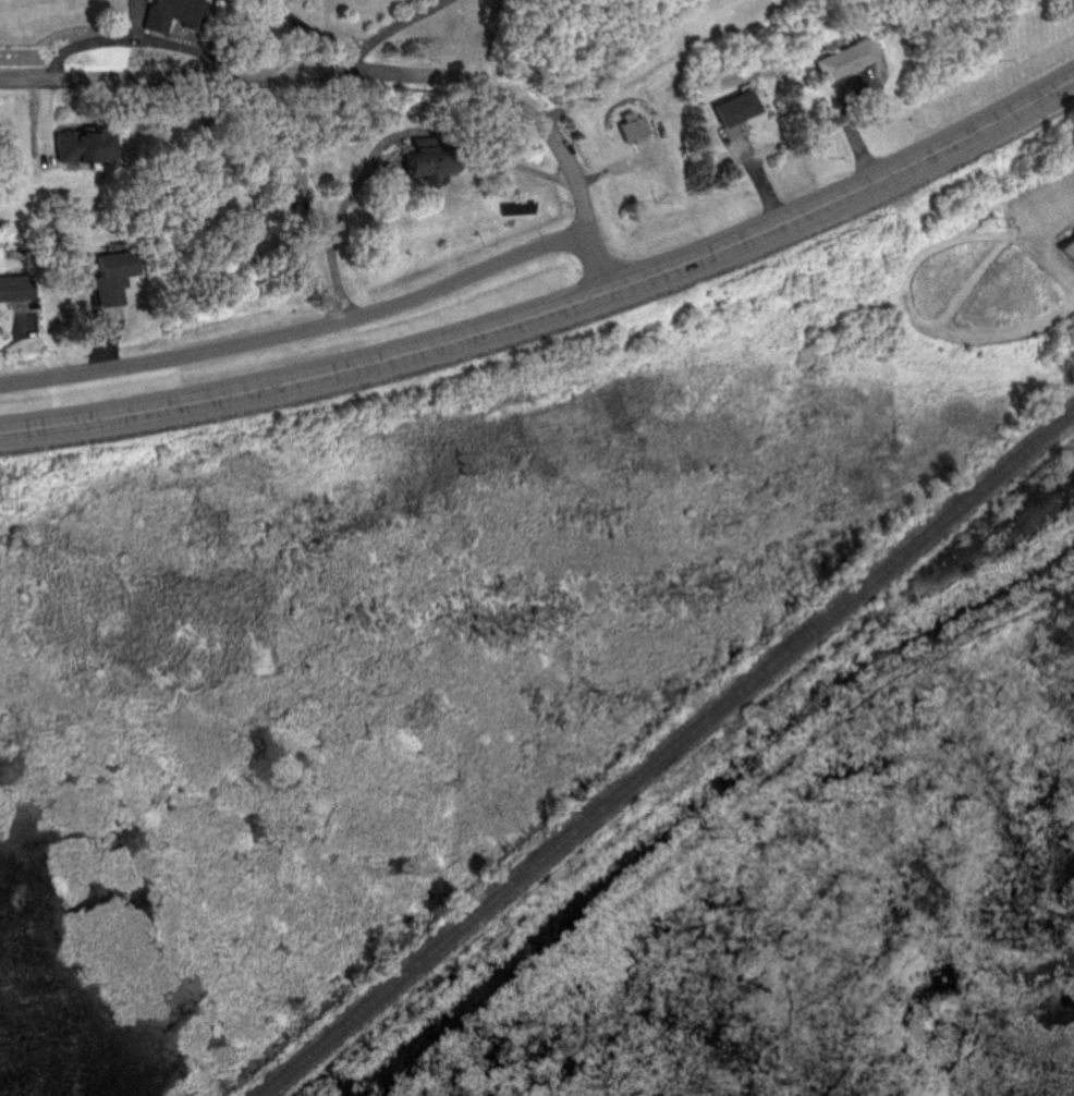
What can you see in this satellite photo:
building: (176, 13)
road: (310, 27)
road: (377, 29)
building: (850, 59)
road: (375, 71)
building: (741, 107)
building: (635, 124)
building: (87, 145)
building: (435, 166)
power tower: (993, 217)
building: (255, 224)
building: (1070, 244)
building: (117, 275)
building: (16, 287)
road: (554, 305)
road: (301, 327)
power tower: (461, 460)
railway: (666, 752)
power tower: (704, 825)

